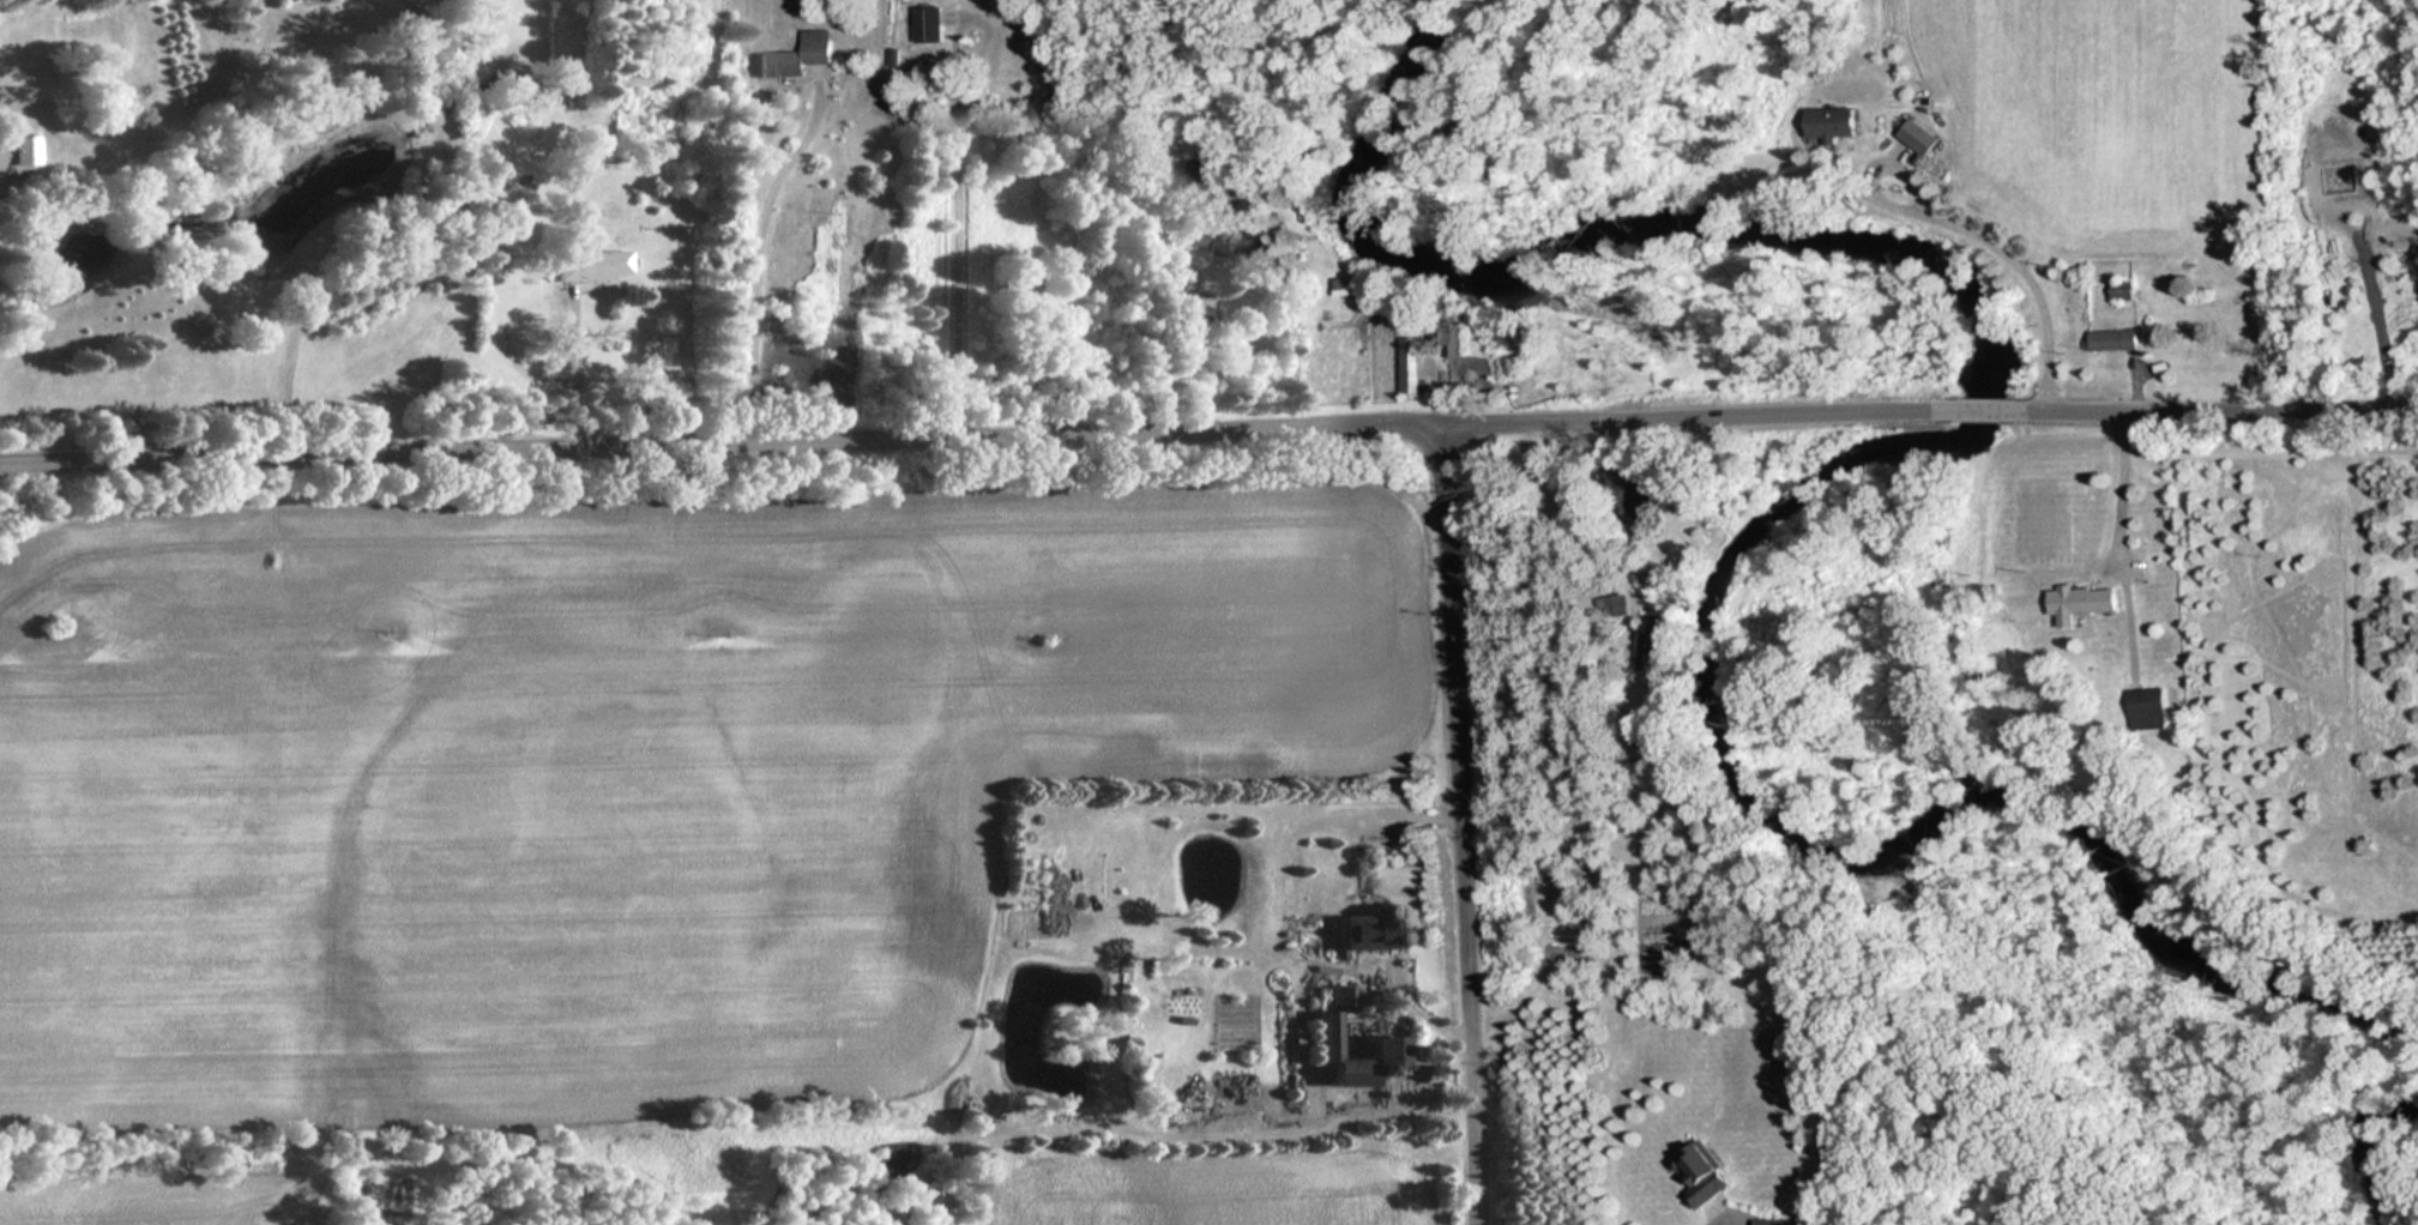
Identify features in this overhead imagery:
building: (928, 24)
building: (798, 56)
building: (1837, 122)
building: (1924, 138)
building: (18, 152)
building: (663, 159)
building: (1205, 171)
building: (1217, 240)
road: (405, 246)
building: (595, 265)
building: (1344, 286)
building: (2125, 290)
building: (1453, 339)
building: (2116, 340)
building: (1412, 367)
road: (2293, 403)
road: (1967, 406)
road: (2098, 406)
road: (1766, 411)
road: (812, 439)
river: (1843, 464)
building: (2082, 602)
building: (1656, 650)
building: (2151, 707)
road: (1457, 823)
building: (1381, 928)
building: (1331, 1022)
river: (2374, 1155)
building: (1705, 1172)
building: (1771, 1221)

